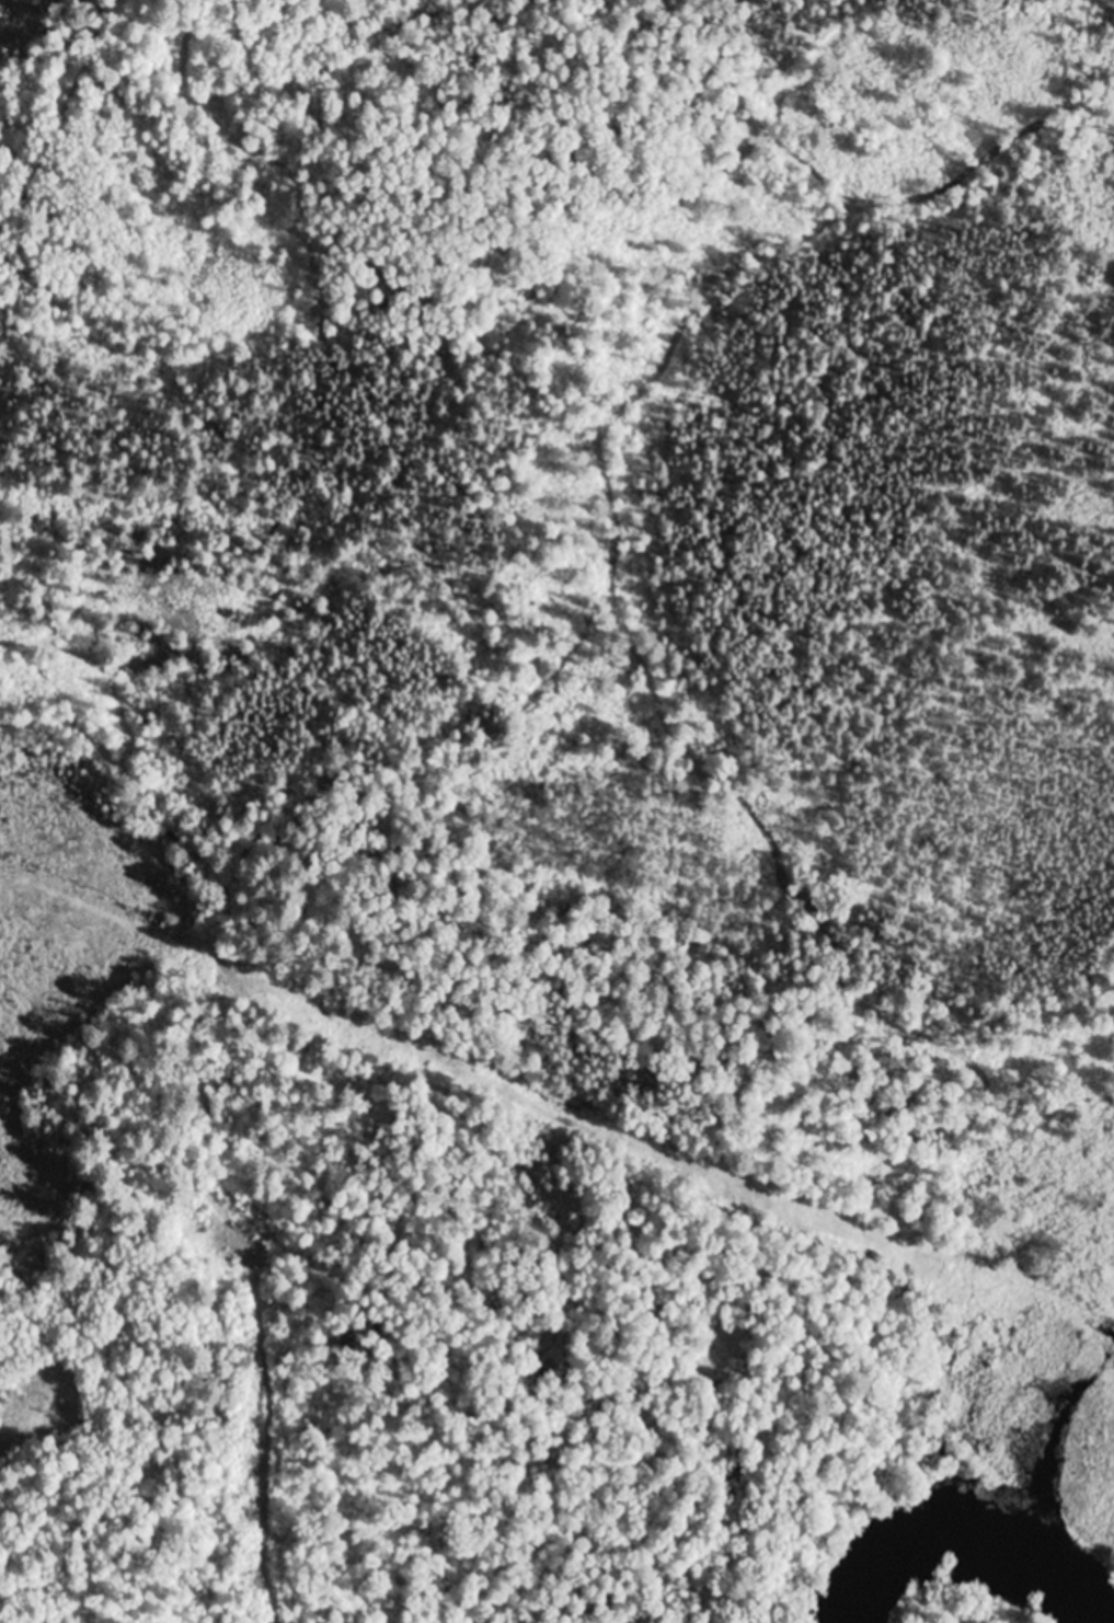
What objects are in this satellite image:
river: (971, 1544)

